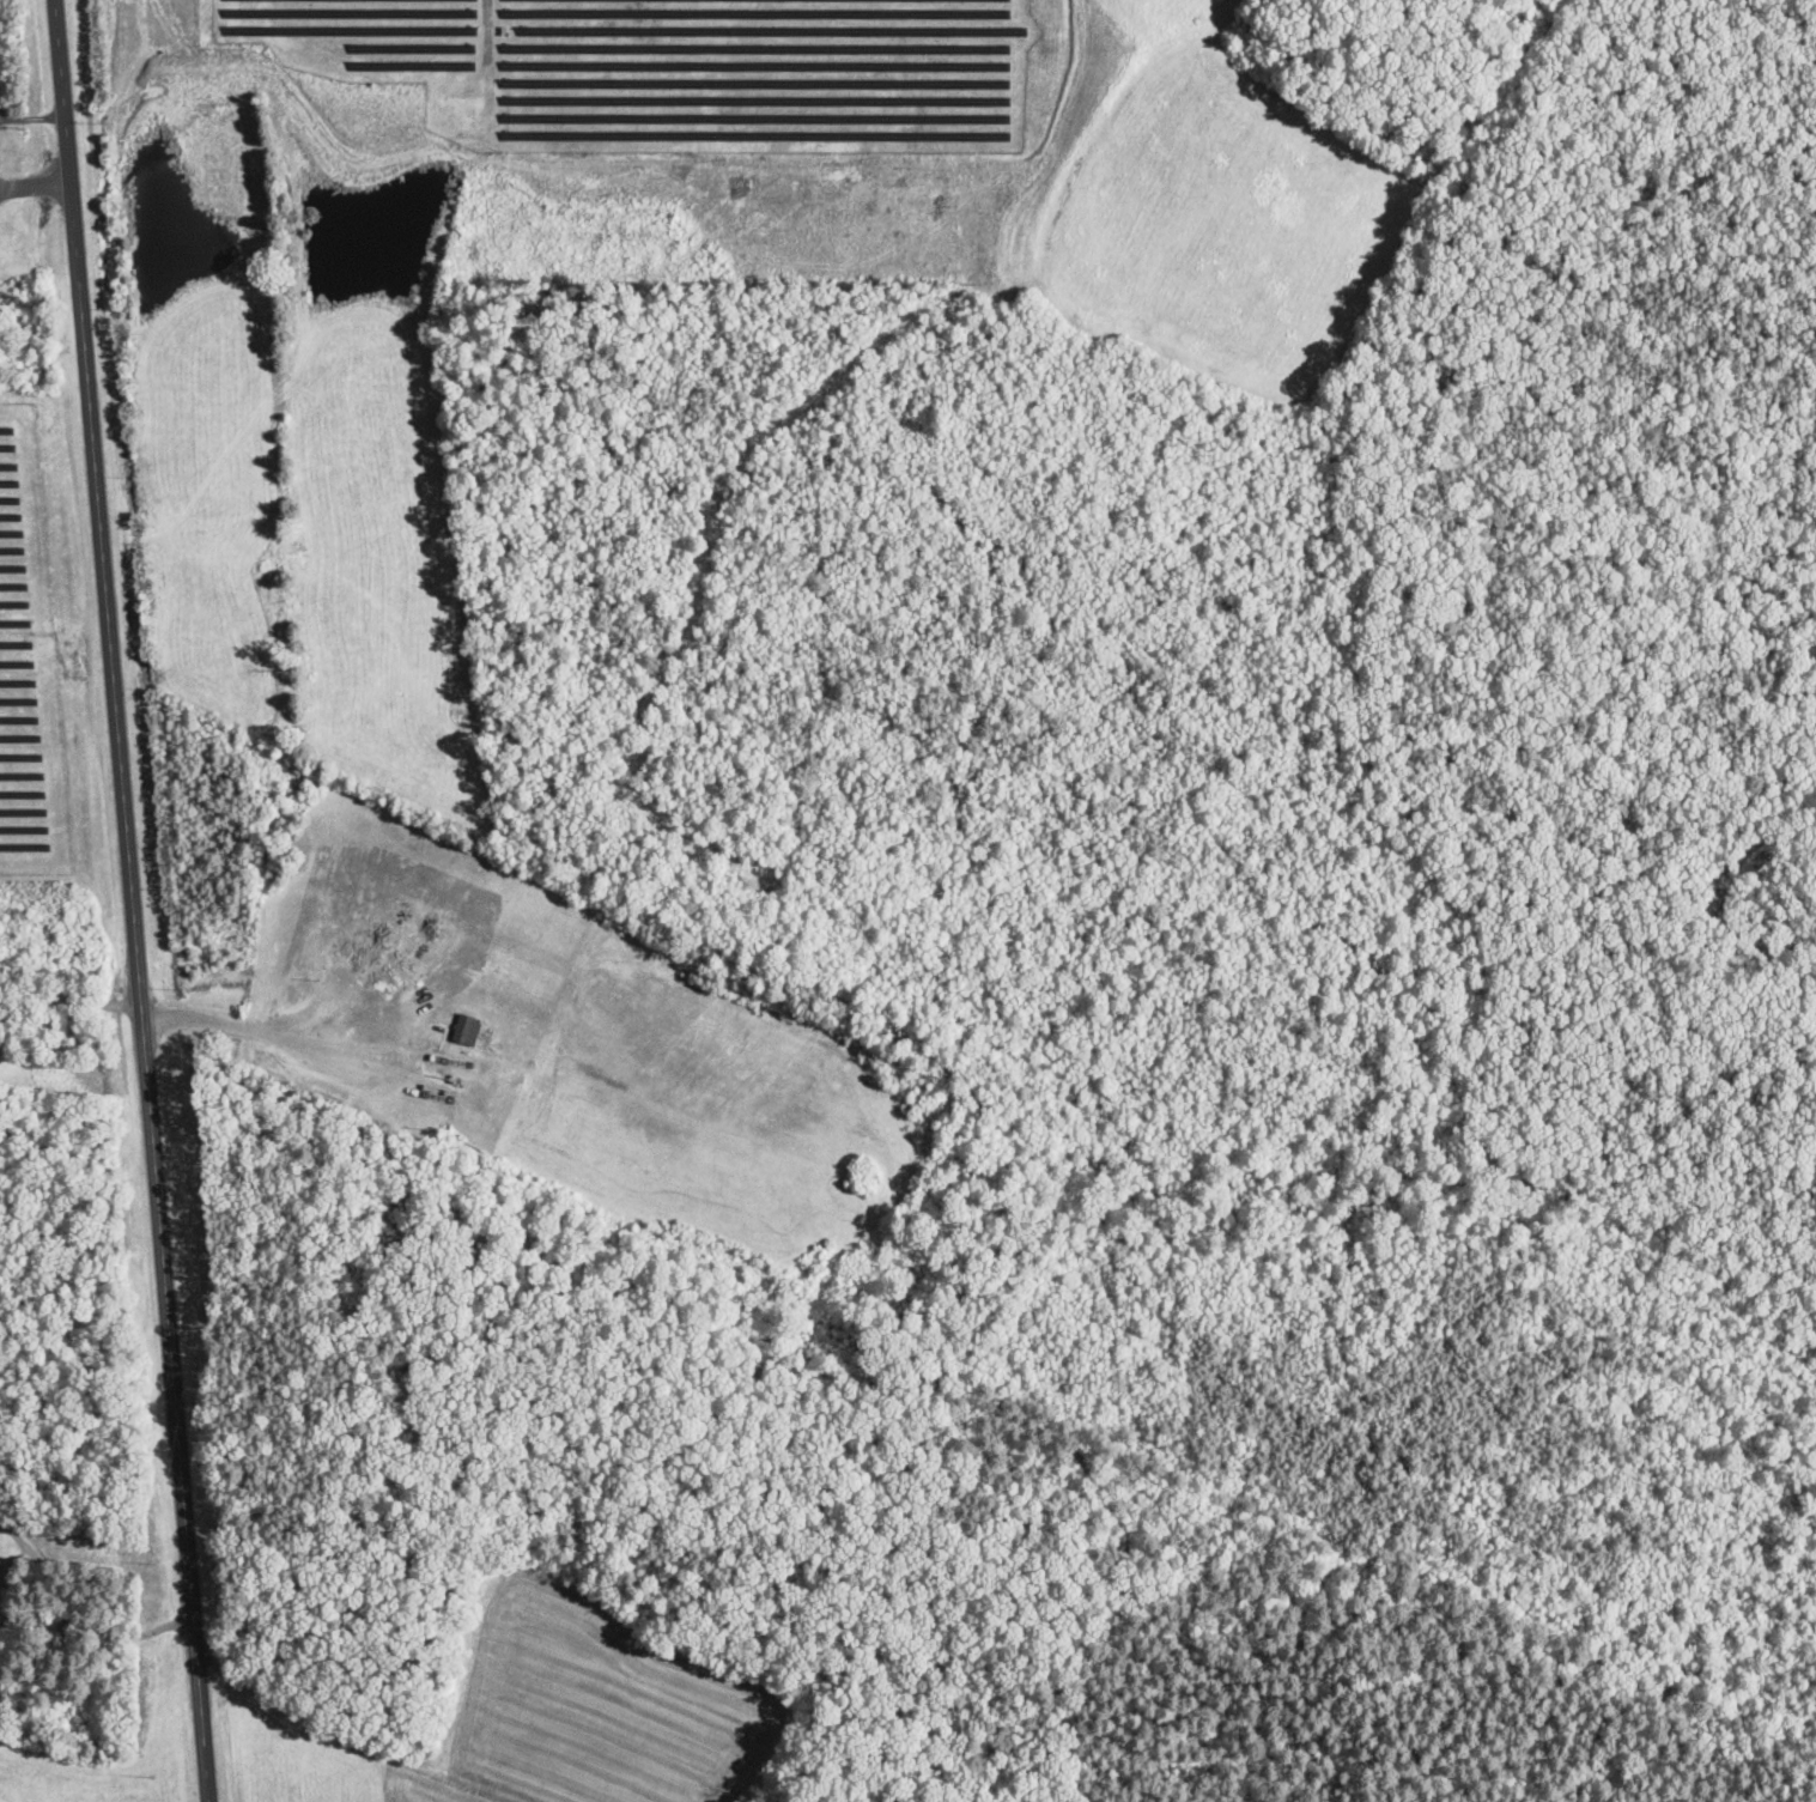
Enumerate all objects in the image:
solar farm: (28, 671)
road: (127, 900)
building: (468, 1030)
building: (921, 1092)

